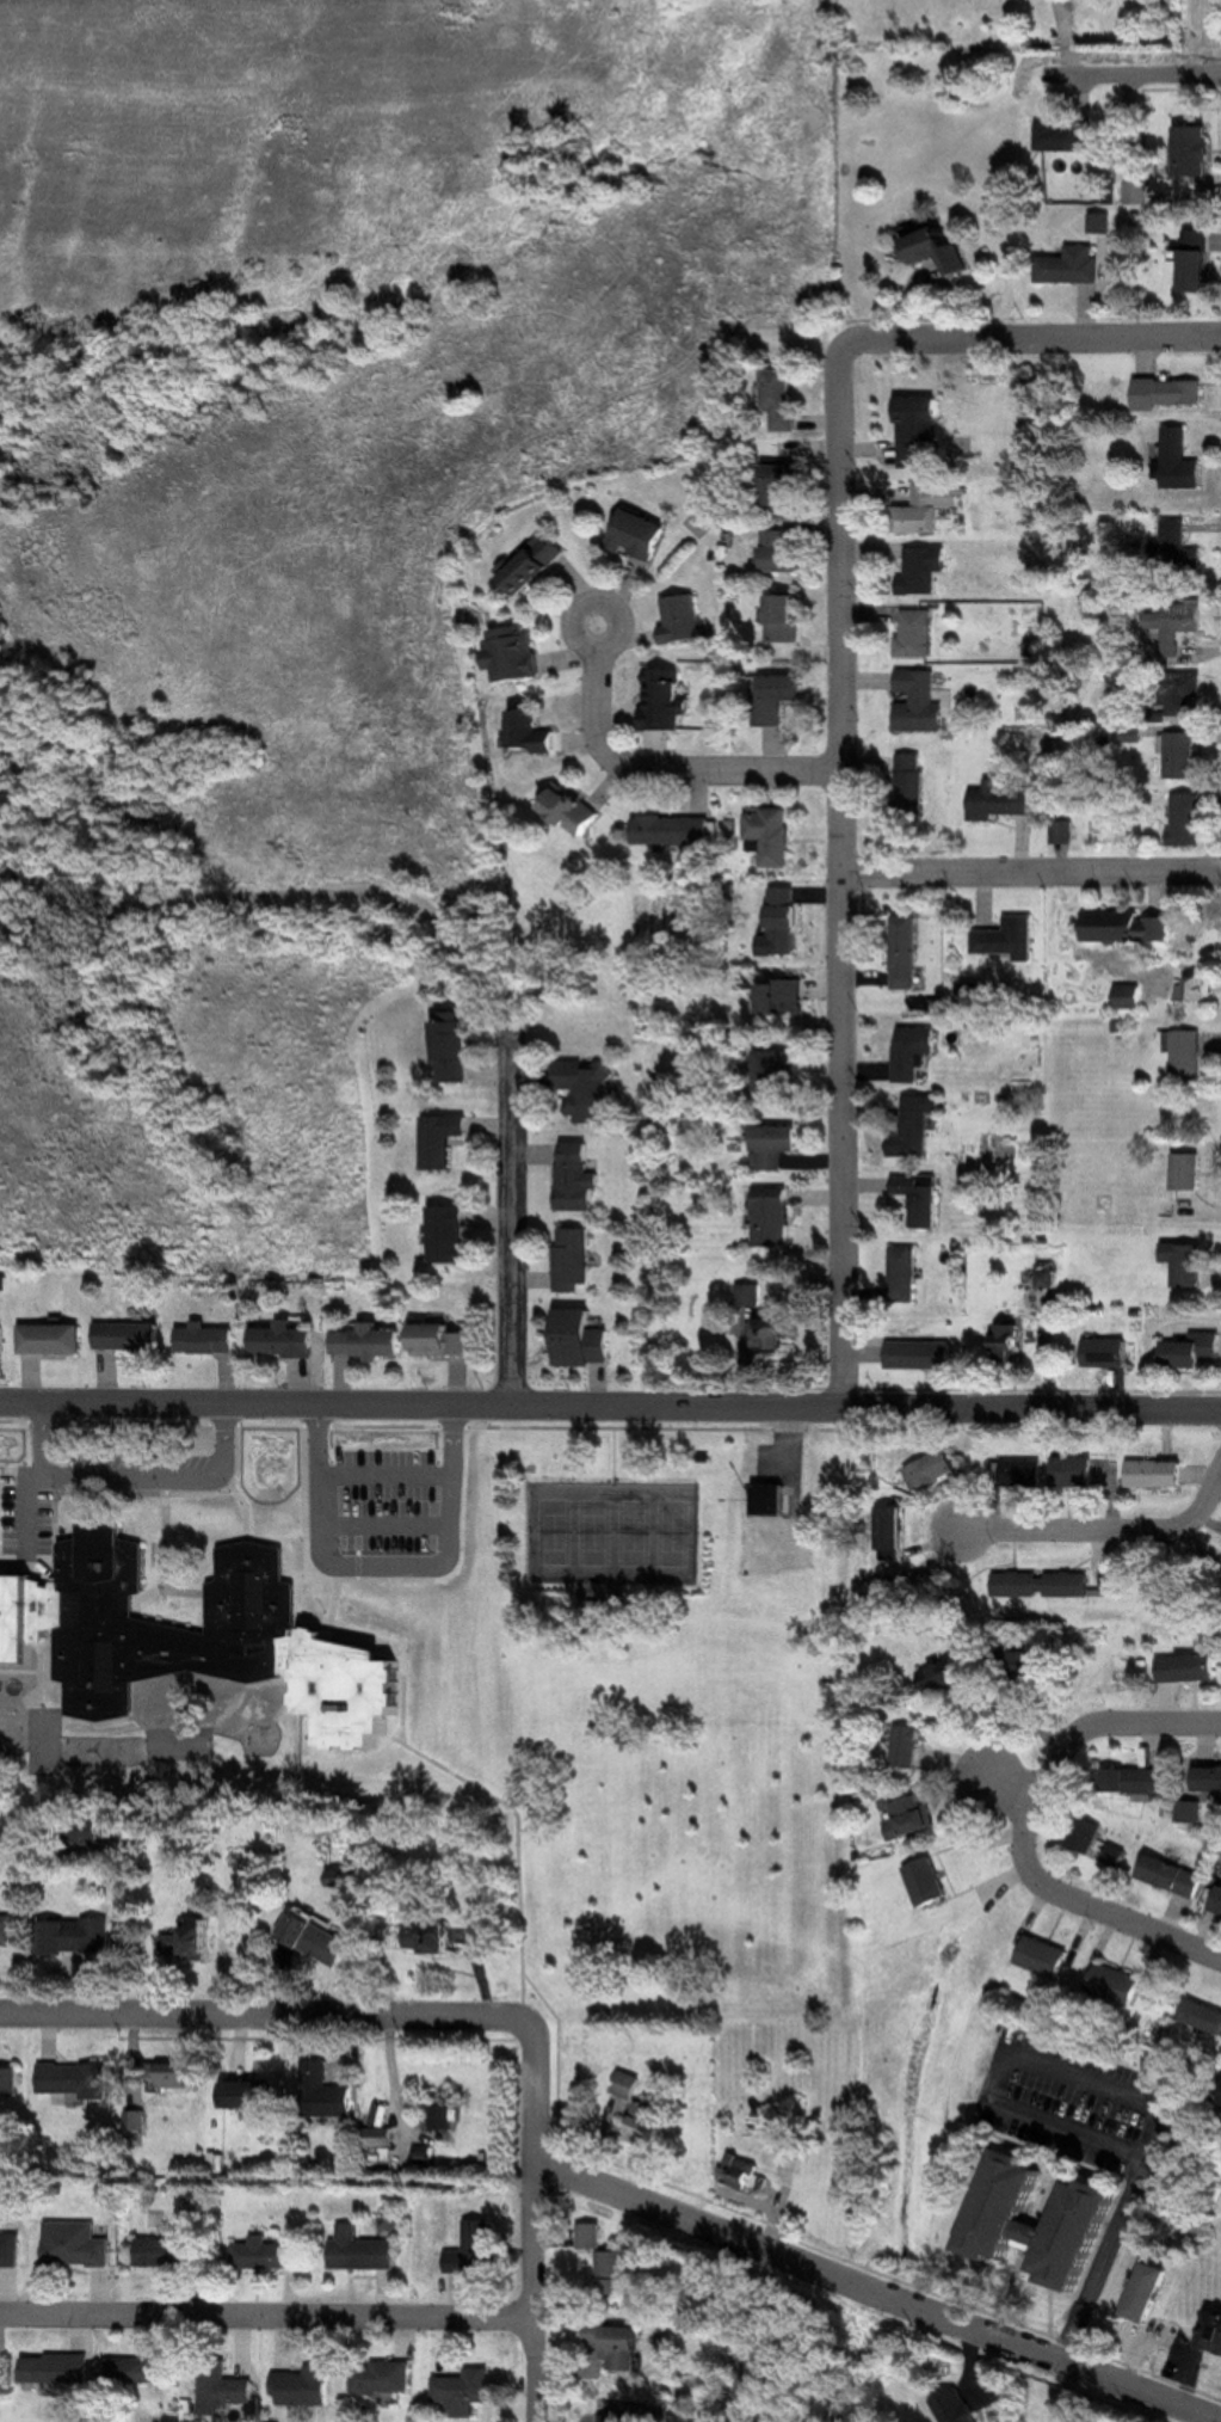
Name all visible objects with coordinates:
road: (1123, 82)
building: (1065, 137)
building: (1194, 153)
building: (1135, 193)
building: (1100, 225)
building: (942, 250)
building: (1198, 262)
building: (1072, 266)
road: (1035, 337)
building: (1168, 392)
building: (785, 398)
building: (918, 428)
building: (1179, 461)
building: (784, 484)
building: (926, 508)
building: (701, 523)
building: (640, 536)
building: (1178, 548)
building: (782, 553)
building: (538, 565)
building: (923, 570)
building: (785, 617)
building: (683, 620)
building: (1179, 626)
building: (915, 634)
building: (517, 652)
building: (1179, 691)
building: (777, 696)
building: (666, 699)
building: (919, 701)
building: (534, 732)
building: (1183, 756)
road: (659, 767)
building: (911, 786)
building: (999, 801)
building: (573, 810)
building: (1186, 819)
building: (676, 830)
building: (772, 836)
road: (841, 871)
road: (1031, 871)
road: (205, 912)
building: (785, 921)
building: (1128, 927)
building: (1010, 939)
building: (907, 953)
building: (1200, 989)
building: (787, 996)
building: (1130, 997)
building: (456, 1046)
building: (914, 1052)
building: (1188, 1056)
building: (778, 1070)
building: (586, 1089)
building: (915, 1126)
building: (443, 1139)
building: (773, 1145)
road: (506, 1162)
building: (1188, 1170)
building: (578, 1175)
building: (920, 1198)
building: (771, 1217)
building: (451, 1234)
building: (575, 1259)
building: (1188, 1264)
building: (905, 1274)
building: (776, 1334)
building: (132, 1338)
building: (55, 1339)
building: (443, 1339)
building: (584, 1339)
building: (4, 1340)
building: (214, 1340)
building: (292, 1341)
building: (370, 1341)
building: (1013, 1344)
building: (1192, 1351)
building: (1110, 1353)
building: (921, 1354)
road: (423, 1404)
road: (1034, 1407)
road: (440, 1425)
road: (615, 1455)
building: (935, 1470)
building: (1074, 1471)
building: (1017, 1473)
building: (1157, 1474)
road: (174, 1482)
building: (772, 1500)
road: (1100, 1531)
park: (554, 1532)
building: (893, 1532)
park: (593, 1533)
park: (633, 1533)
park: (674, 1535)
road: (51, 1539)
building: (1019, 1585)
building: (1071, 1585)
building: (876, 1591)
building: (254, 1610)
building: (1018, 1665)
building: (1189, 1668)
building: (943, 1678)
park: (608, 1690)
road: (1118, 1731)
building: (908, 1747)
building: (1209, 1779)
building: (1136, 1781)
road: (1025, 1791)
road: (493, 1796)
building: (1191, 1813)
building: (914, 1815)
building: (87, 1828)
building: (1089, 1834)
building: (1117, 1854)
building: (1171, 1874)
building: (930, 1882)
road: (1098, 1905)
building: (1219, 1905)
building: (10, 1931)
building: (80, 1937)
building: (432, 1938)
building: (192, 1941)
building: (320, 1941)
building: (1049, 1956)
building: (1118, 1984)
road: (341, 2015)
building: (1203, 2017)
road: (563, 2052)
building: (179, 2074)
building: (79, 2079)
building: (12, 2082)
building: (629, 2085)
road: (1110, 2090)
building: (1219, 2091)
building: (328, 2094)
building: (252, 2096)
building: (446, 2117)
building: (647, 2127)
building: (383, 2145)
building: (744, 2172)
building: (1043, 2221)
building: (596, 2237)
building: (79, 2245)
building: (12, 2249)
building: (363, 2251)
building: (173, 2252)
building: (474, 2252)
building: (269, 2255)
road: (874, 2269)
building: (619, 2272)
road: (876, 2292)
building: (1149, 2293)
road: (534, 2294)
road: (266, 2320)
building: (1209, 2332)
building: (619, 2346)
building: (61, 2369)
building: (138, 2371)
building: (384, 2379)
building: (226, 2385)
building: (306, 2387)
building: (465, 2390)
building: (958, 2408)

